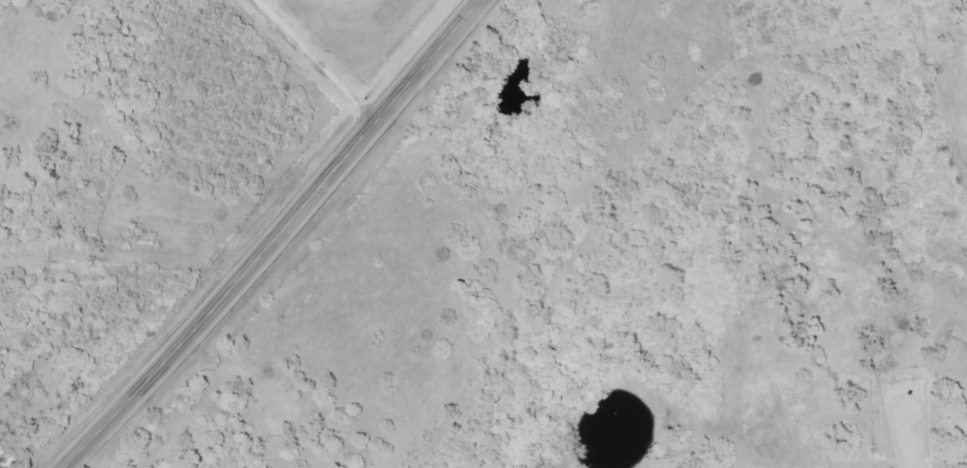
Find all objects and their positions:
road: (317, 62)
road: (280, 237)

